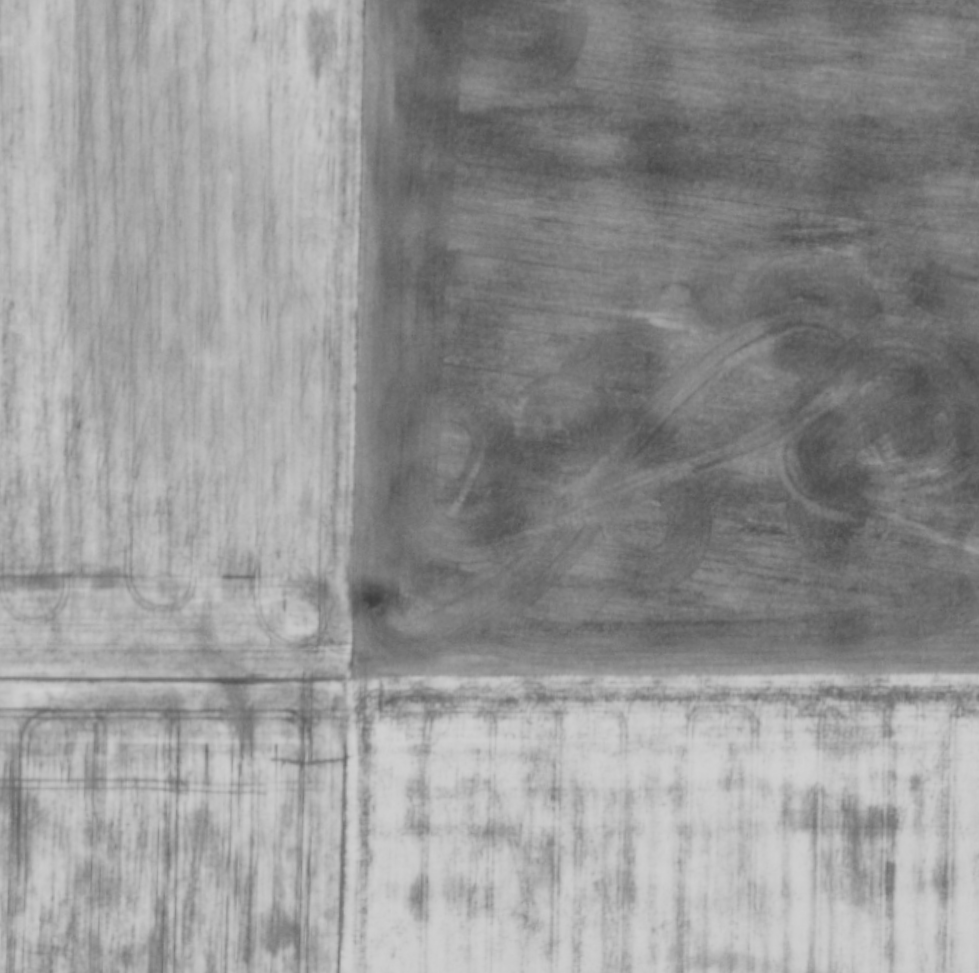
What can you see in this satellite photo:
crop: (173, 331)
crop: (662, 334)
crop: (658, 819)
crop: (168, 820)

